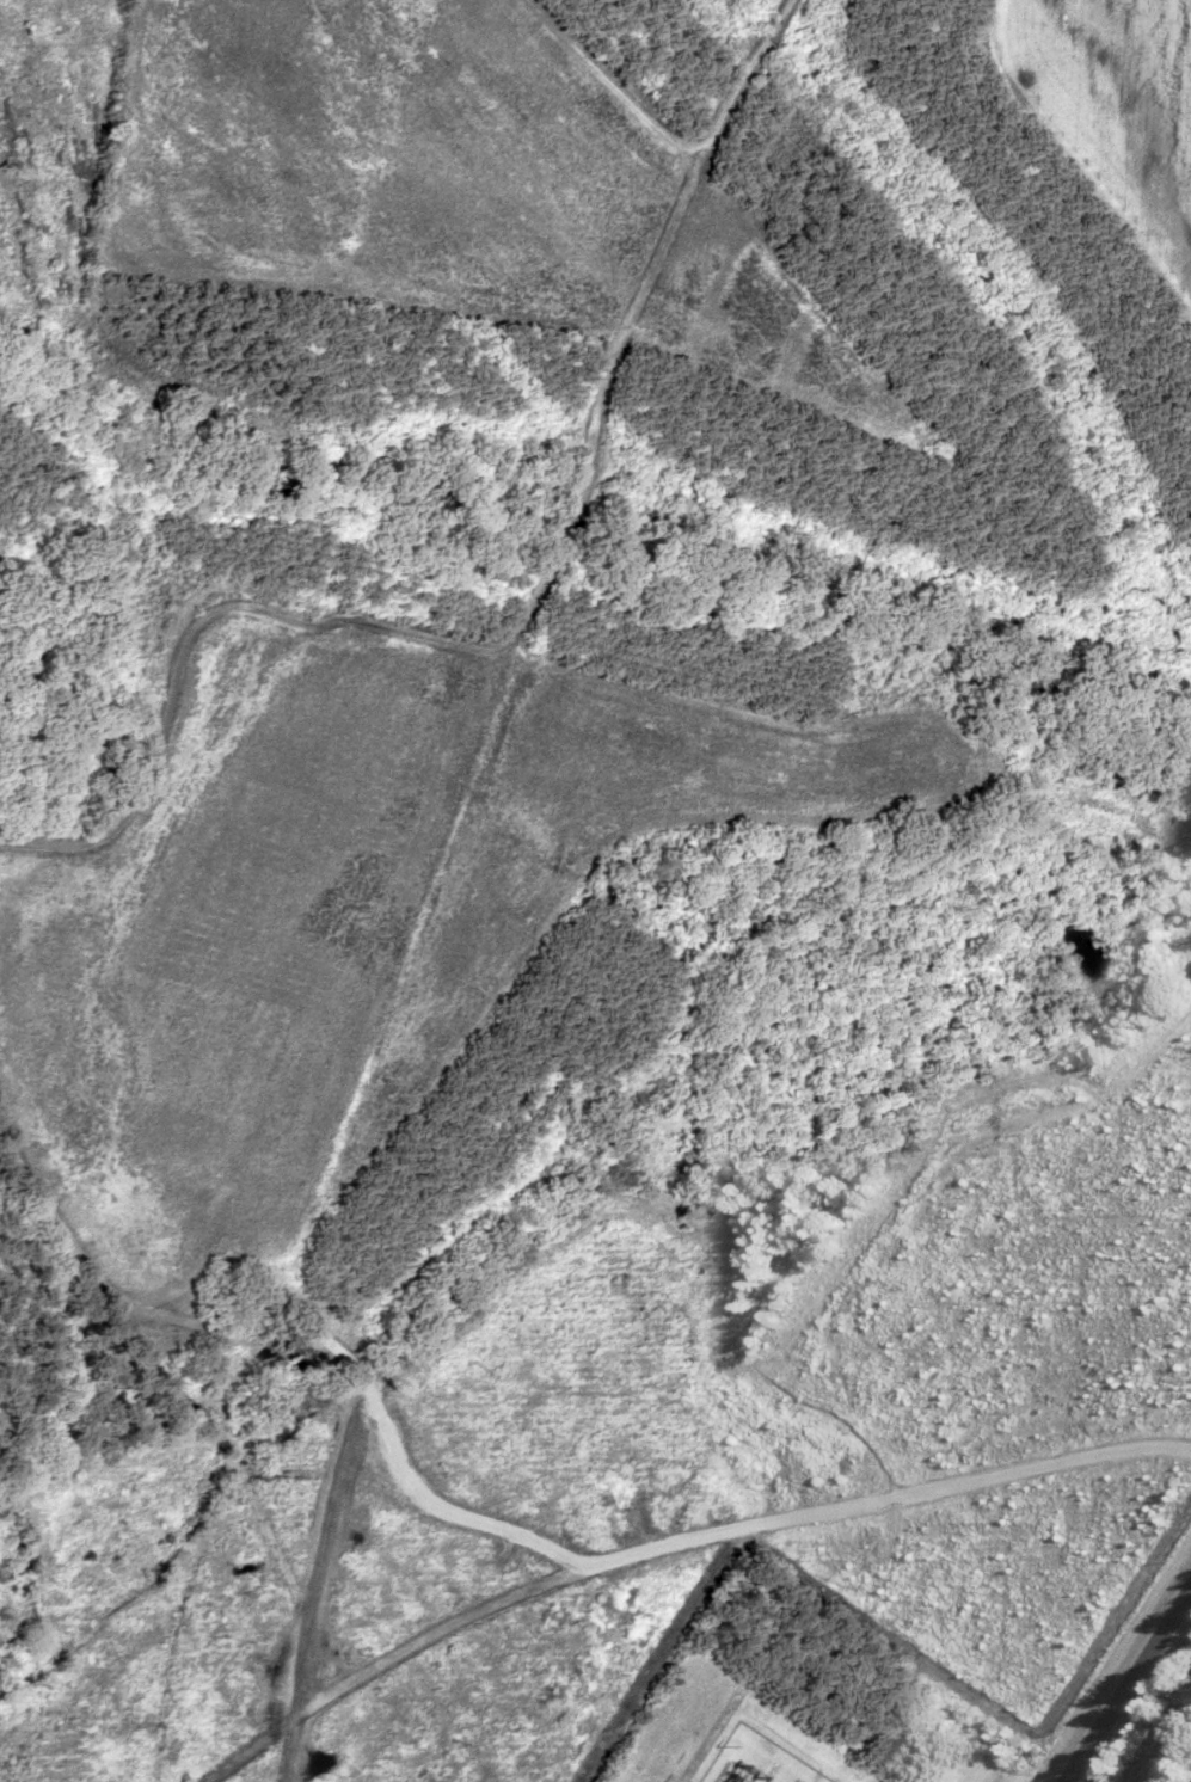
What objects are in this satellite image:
road: (1131, 1688)
railway: (1169, 1750)
power substation: (753, 1761)

